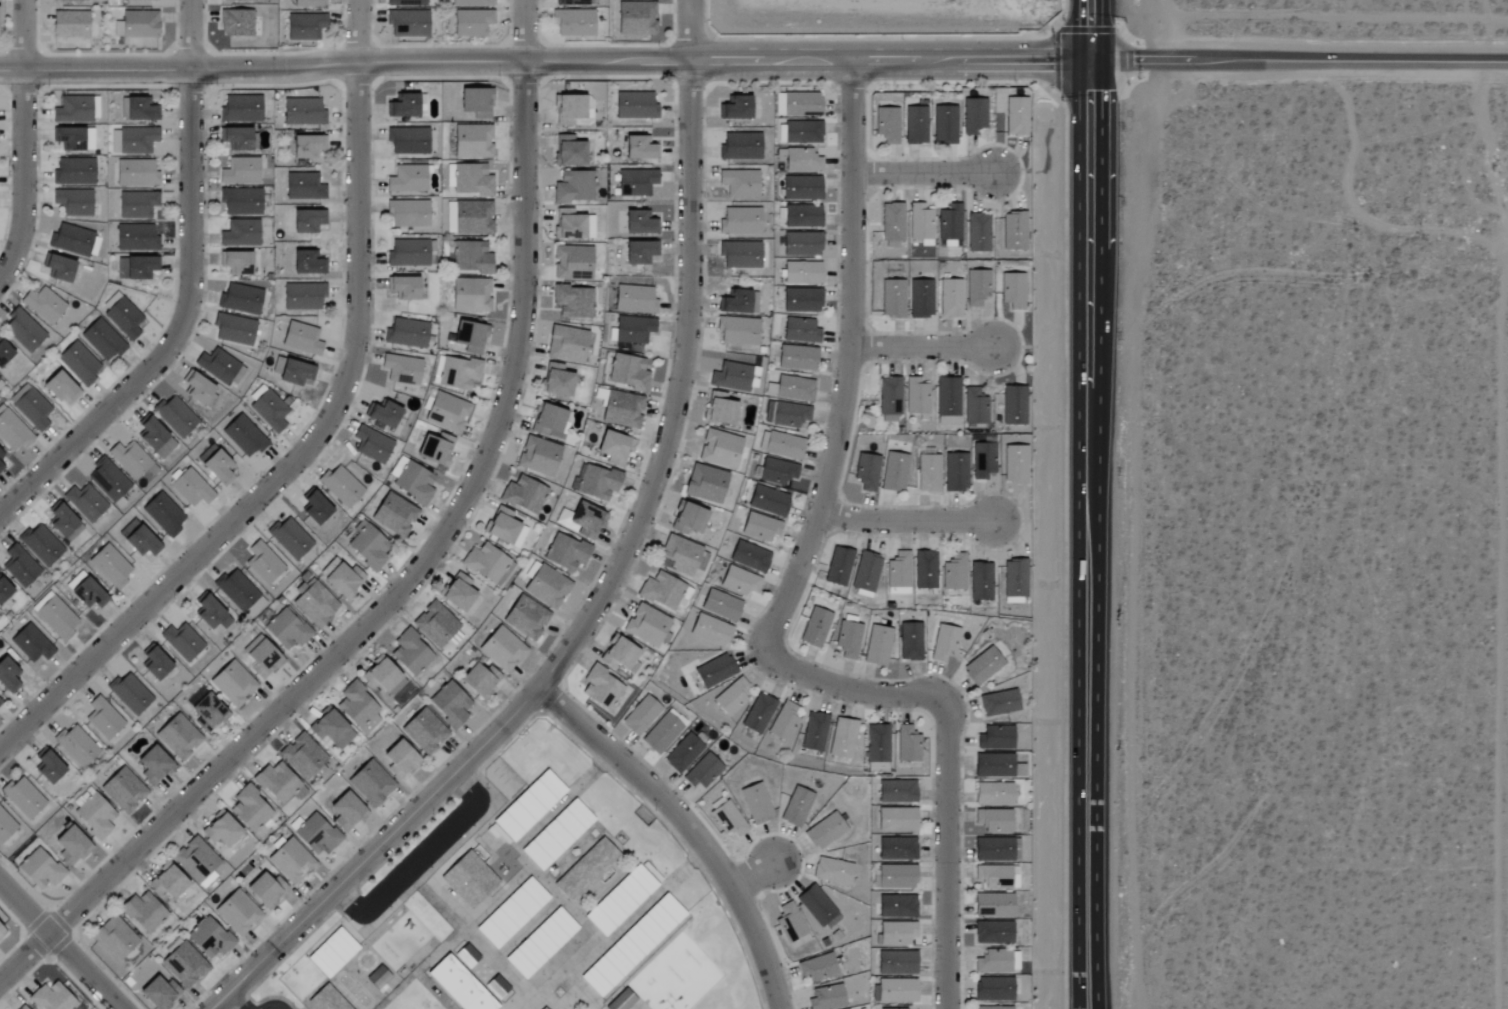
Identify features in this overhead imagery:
building: (67, 0)
building: (138, 0)
building: (240, 0)
building: (405, 3)
building: (471, 3)
building: (574, 3)
building: (308, 4)
building: (636, 18)
building: (236, 23)
building: (407, 23)
building: (472, 23)
building: (574, 23)
building: (69, 24)
building: (137, 25)
building: (304, 27)
road: (1080, 28)
road: (1098, 28)
road: (524, 29)
road: (689, 29)
road: (359, 30)
road: (23, 37)
road: (191, 37)
traffic signals: (1080, 57)
traffic signals: (1098, 57)
road: (1294, 58)
road: (539, 59)
building: (475, 101)
building: (798, 104)
building: (402, 105)
building: (635, 106)
building: (735, 107)
building: (241, 108)
building: (76, 109)
building: (139, 109)
building: (302, 112)
building: (1012, 116)
building: (973, 117)
building: (887, 124)
building: (944, 124)
building: (915, 125)
building: (802, 132)
building: (73, 138)
building: (236, 138)
road: (1489, 138)
building: (134, 140)
building: (408, 141)
building: (472, 141)
building: (307, 146)
building: (740, 146)
building: (639, 147)
building: (569, 151)
road: (1099, 151)
building: (799, 160)
building: (73, 171)
building: (240, 171)
road: (928, 172)
building: (135, 173)
road: (21, 178)
building: (407, 179)
building: (471, 179)
building: (636, 182)
building: (740, 182)
building: (574, 186)
building: (303, 187)
building: (801, 188)
building: (73, 201)
building: (240, 201)
building: (137, 205)
building: (408, 213)
building: (802, 215)
building: (472, 217)
building: (306, 220)
building: (740, 221)
building: (639, 222)
building: (892, 222)
building: (569, 224)
building: (950, 226)
building: (1011, 231)
building: (978, 232)
building: (239, 233)
building: (135, 238)
building: (71, 239)
building: (801, 244)
building: (639, 252)
building: (407, 253)
building: (740, 255)
building: (472, 257)
building: (235, 262)
building: (307, 262)
building: (572, 263)
building: (57, 267)
building: (136, 267)
building: (802, 273)
building: (403, 287)
building: (977, 287)
building: (1011, 289)
building: (471, 295)
building: (303, 296)
building: (951, 298)
building: (240, 299)
building: (634, 299)
building: (893, 299)
building: (921, 299)
building: (801, 300)
building: (573, 301)
building: (734, 302)
building: (43, 304)
building: (122, 315)
road: (1099, 320)
building: (233, 329)
building: (633, 329)
building: (23, 330)
building: (800, 330)
road: (179, 331)
building: (737, 331)
building: (406, 333)
building: (469, 336)
building: (301, 338)
building: (102, 340)
building: (566, 345)
road: (926, 347)
building: (4, 352)
building: (796, 358)
building: (78, 363)
road: (854, 364)
building: (220, 367)
building: (401, 369)
building: (291, 371)
building: (458, 372)
building: (628, 372)
building: (730, 377)
building: (753, 377)
building: (556, 380)
building: (1, 383)
building: (59, 387)
building: (196, 387)
building: (792, 388)
building: (917, 396)
building: (890, 398)
building: (948, 401)
building: (1014, 405)
building: (31, 407)
building: (975, 407)
building: (270, 408)
building: (719, 408)
building: (621, 409)
building: (446, 412)
building: (382, 414)
building: (786, 414)
building: (175, 416)
building: (550, 422)
building: (12, 431)
building: (244, 436)
building: (155, 438)
building: (371, 444)
building: (784, 445)
building: (435, 448)
building: (614, 448)
building: (719, 449)
building: (538, 456)
road: (297, 458)
building: (129, 459)
building: (983, 460)
building: (2, 462)
building: (215, 464)
building: (1012, 464)
building: (777, 471)
building: (867, 472)
building: (894, 472)
building: (955, 472)
building: (928, 473)
building: (108, 479)
building: (596, 482)
building: (414, 483)
building: (705, 484)
building: (341, 486)
building: (191, 488)
building: (524, 494)
building: (768, 500)
building: (85, 502)
building: (314, 508)
building: (163, 514)
building: (394, 514)
building: (687, 518)
road: (910, 522)
building: (63, 523)
building: (760, 527)
building: (505, 528)
road: (1079, 533)
building: (289, 538)
building: (138, 540)
building: (40, 544)
building: (368, 548)
building: (565, 552)
building: (680, 555)
building: (750, 556)
building: (263, 563)
building: (486, 563)
building: (19, 566)
building: (109, 566)
building: (838, 566)
building: (925, 570)
building: (954, 572)
building: (899, 573)
building: (866, 574)
building: (340, 577)
building: (1015, 580)
building: (739, 581)
building: (981, 582)
building: (547, 587)
building: (4, 589)
building: (237, 590)
building: (661, 590)
road: (401, 591)
building: (87, 593)
building: (457, 593)
road: (597, 603)
building: (315, 604)
building: (721, 605)
building: (207, 611)
building: (526, 617)
building: (55, 618)
building: (435, 624)
building: (646, 625)
building: (815, 627)
building: (287, 629)
building: (711, 630)
building: (848, 639)
building: (182, 641)
building: (910, 642)
building: (31, 643)
building: (944, 643)
building: (877, 645)
building: (502, 649)
building: (410, 653)
building: (618, 654)
building: (261, 658)
building: (154, 663)
building: (982, 666)
building: (714, 671)
building: (7, 676)
building: (383, 677)
building: (479, 680)
building: (233, 683)
building: (601, 688)
road: (852, 691)
building: (129, 694)
building: (733, 696)
building: (0, 702)
road: (1096, 702)
building: (998, 703)
building: (450, 704)
building: (356, 705)
building: (207, 712)
building: (759, 713)
building: (640, 715)
building: (103, 718)
building: (785, 722)
building: (327, 726)
building: (424, 731)
building: (814, 732)
building: (662, 733)
building: (177, 737)
building: (843, 738)
building: (995, 738)
building: (344, 739)
building: (878, 744)
building: (908, 745)
building: (76, 746)
building: (682, 753)
building: (302, 756)
building: (399, 758)
building: (153, 765)
building: (993, 765)
building: (47, 767)
building: (703, 771)
building: (276, 783)
building: (370, 783)
building: (123, 790)
building: (897, 792)
building: (993, 794)
building: (22, 798)
building: (756, 803)
building: (529, 806)
building: (796, 807)
building: (249, 809)
building: (345, 809)
building: (93, 814)
building: (726, 817)
building: (897, 820)
building: (993, 821)
building: (6, 827)
road: (687, 829)
building: (220, 830)
building: (824, 831)
building: (316, 834)
building: (556, 834)
building: (70, 845)
building: (897, 848)
building: (993, 849)
road: (946, 856)
road: (419, 857)
building: (195, 859)
building: (290, 861)
building: (584, 868)
building: (40, 869)
building: (832, 871)
road: (757, 875)
building: (993, 876)
building: (896, 877)
building: (1014, 877)
building: (470, 879)
building: (167, 882)
building: (265, 890)
building: (619, 898)
building: (993, 905)
building: (897, 906)
building: (818, 908)
building: (143, 912)
building: (513, 912)
building: (237, 913)
building: (793, 924)
building: (1, 932)
building: (993, 932)
building: (896, 933)
building: (114, 938)
building: (209, 938)
building: (542, 942)
building: (631, 943)
road: (60, 945)
building: (332, 953)
building: (467, 954)
building: (993, 962)
building: (897, 963)
building: (184, 964)
building: (818, 968)
building: (377, 978)
building: (460, 984)
building: (497, 985)
building: (993, 989)
building: (897, 991)
building: (159, 993)
building: (51, 998)
building: (827, 998)
road: (235, 1001)
building: (621, 1001)
road: (270, 1004)
building: (22, 1007)
building: (542, 1008)
building: (901, 1008)
building: (992, 1008)

